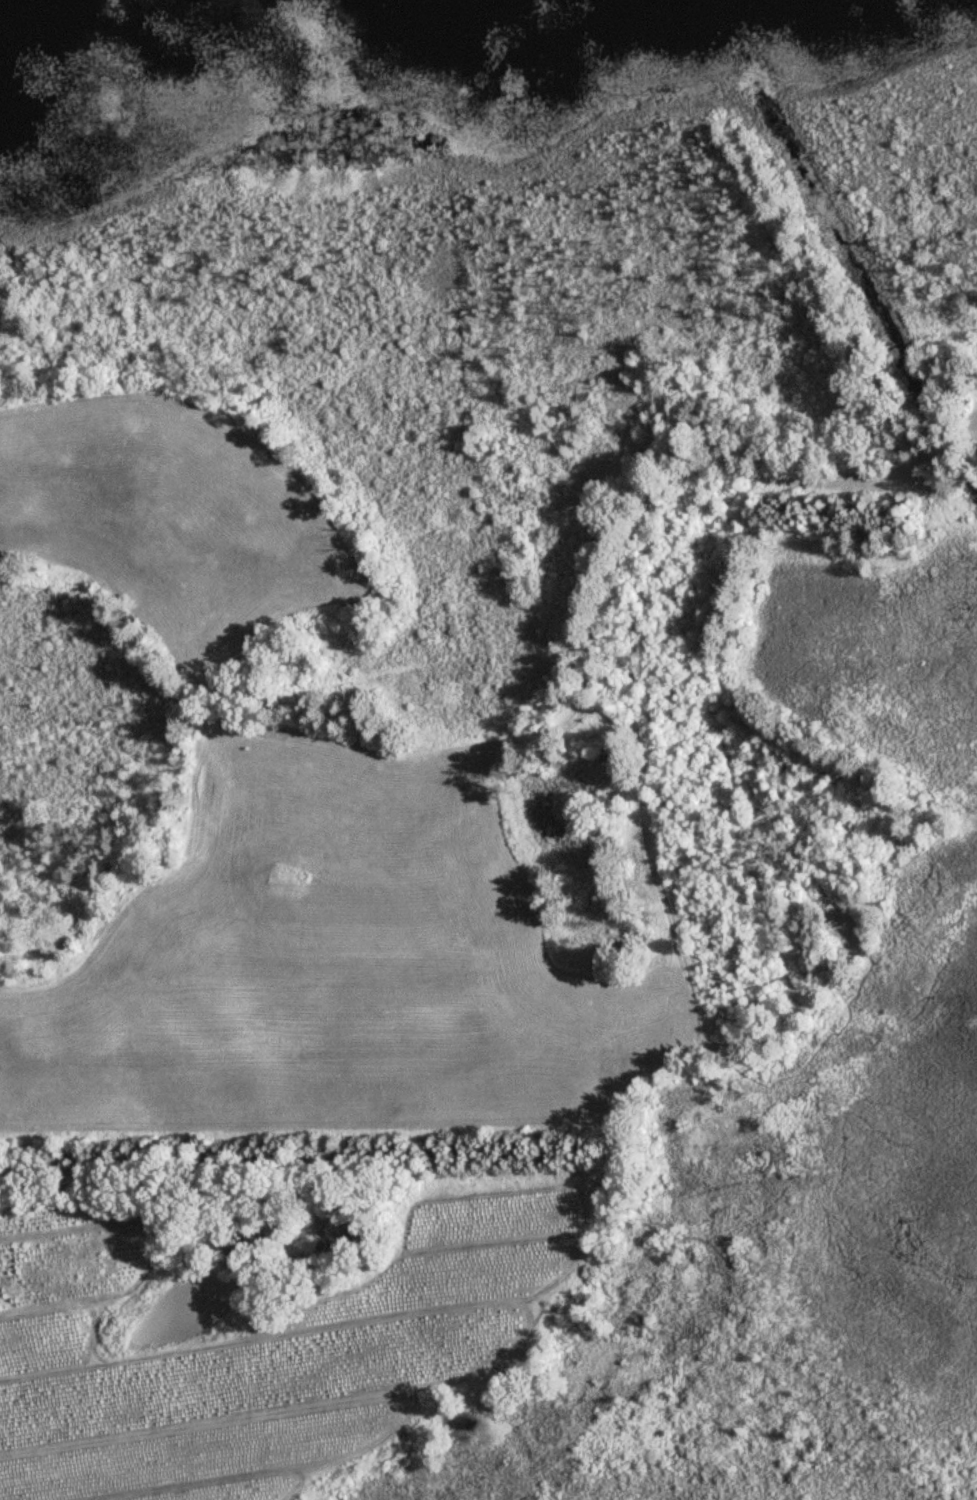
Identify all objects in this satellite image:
crop: (176, 516)
crop: (355, 968)
crop: (273, 1350)

